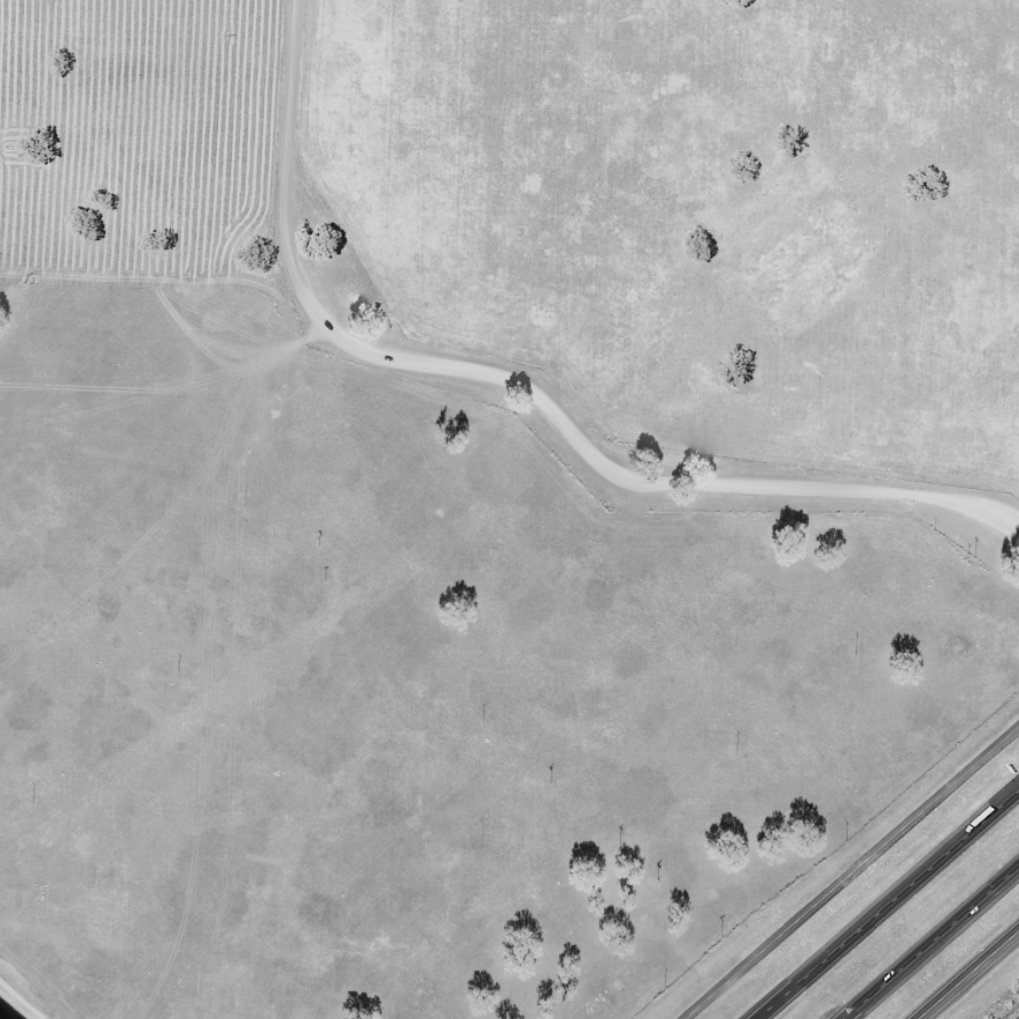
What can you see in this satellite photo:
road: (520, 387)
road: (851, 872)
road: (886, 902)
road: (931, 942)
road: (971, 974)

